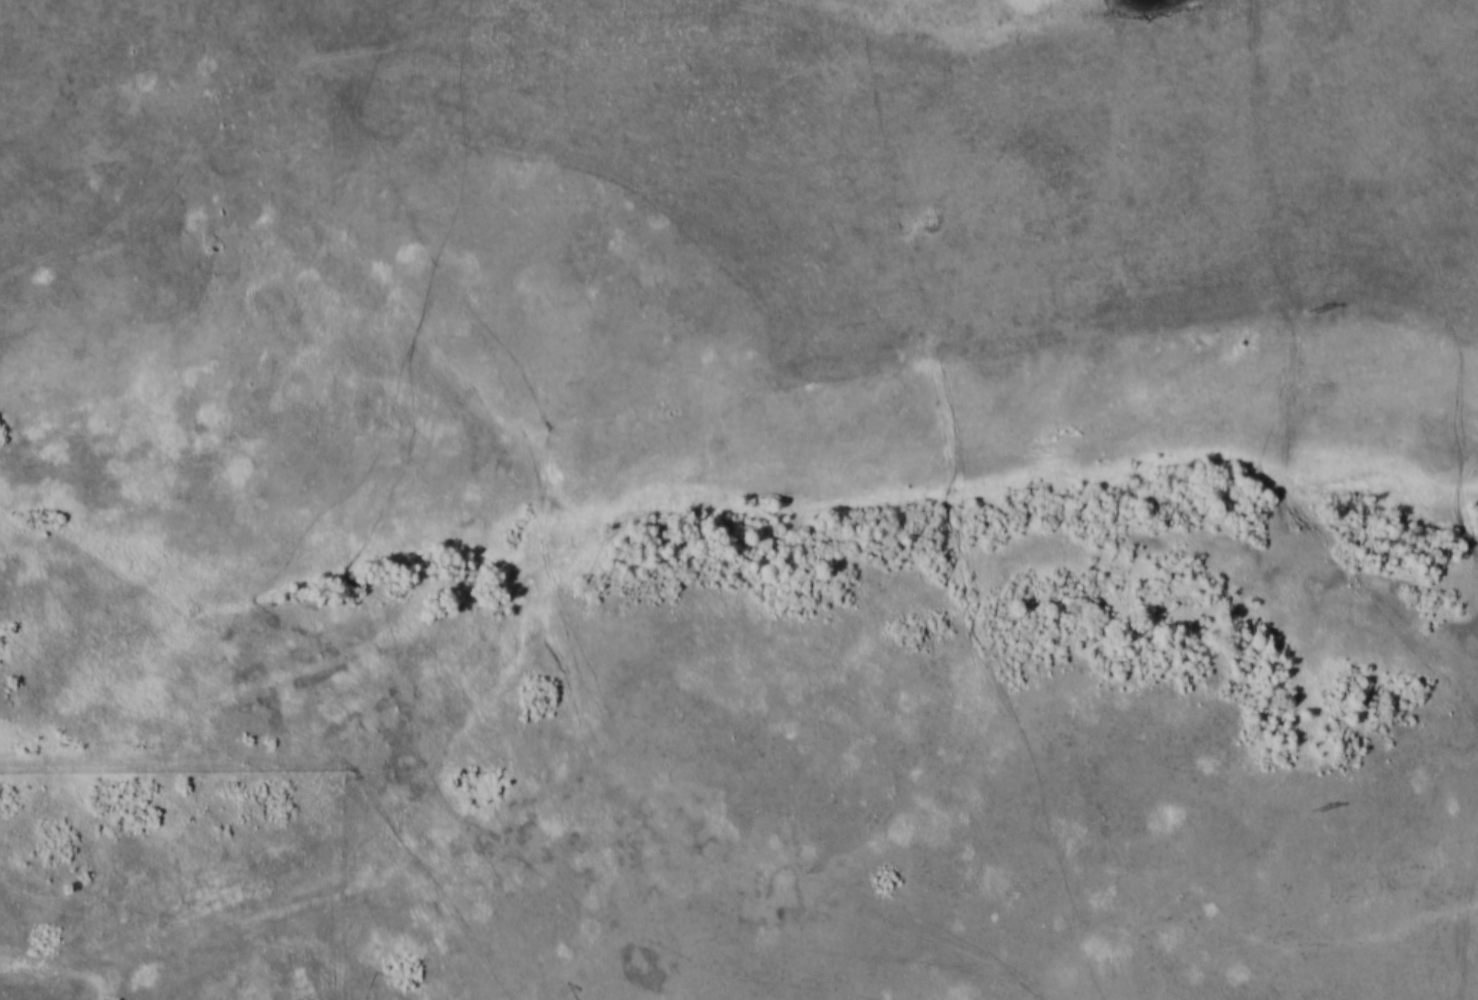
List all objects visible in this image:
power tower: (1318, 314)
power tower: (1322, 814)

